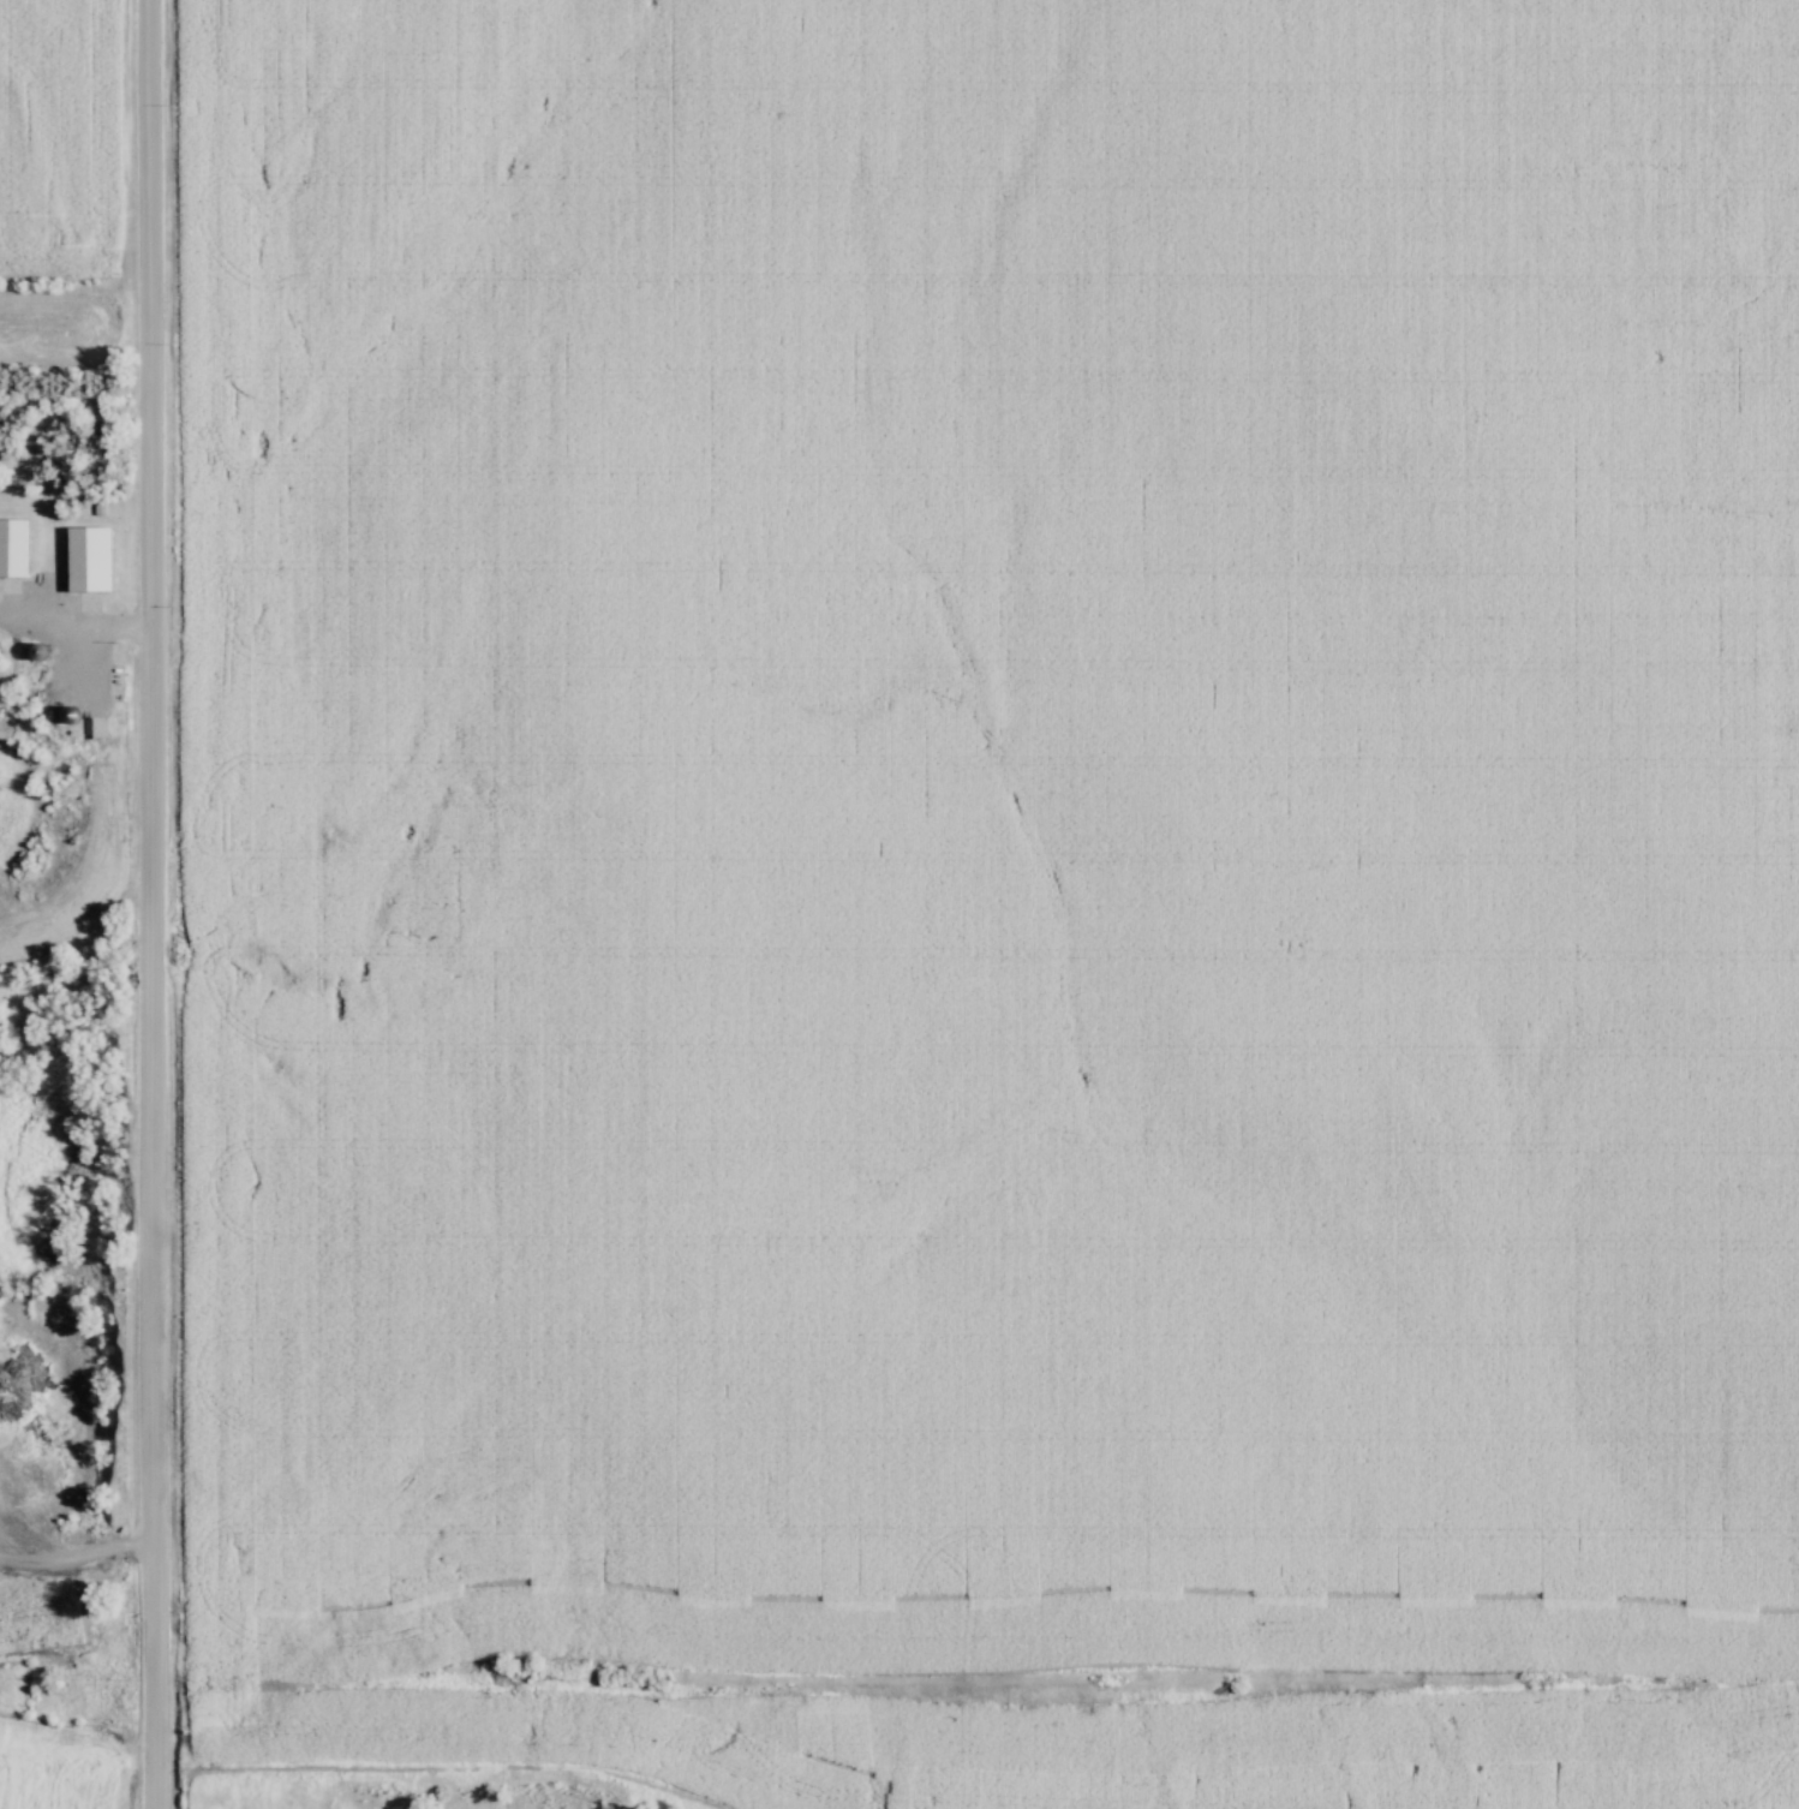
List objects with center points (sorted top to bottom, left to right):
building: (12, 547)
building: (85, 559)
road: (154, 903)
road: (78, 1564)

